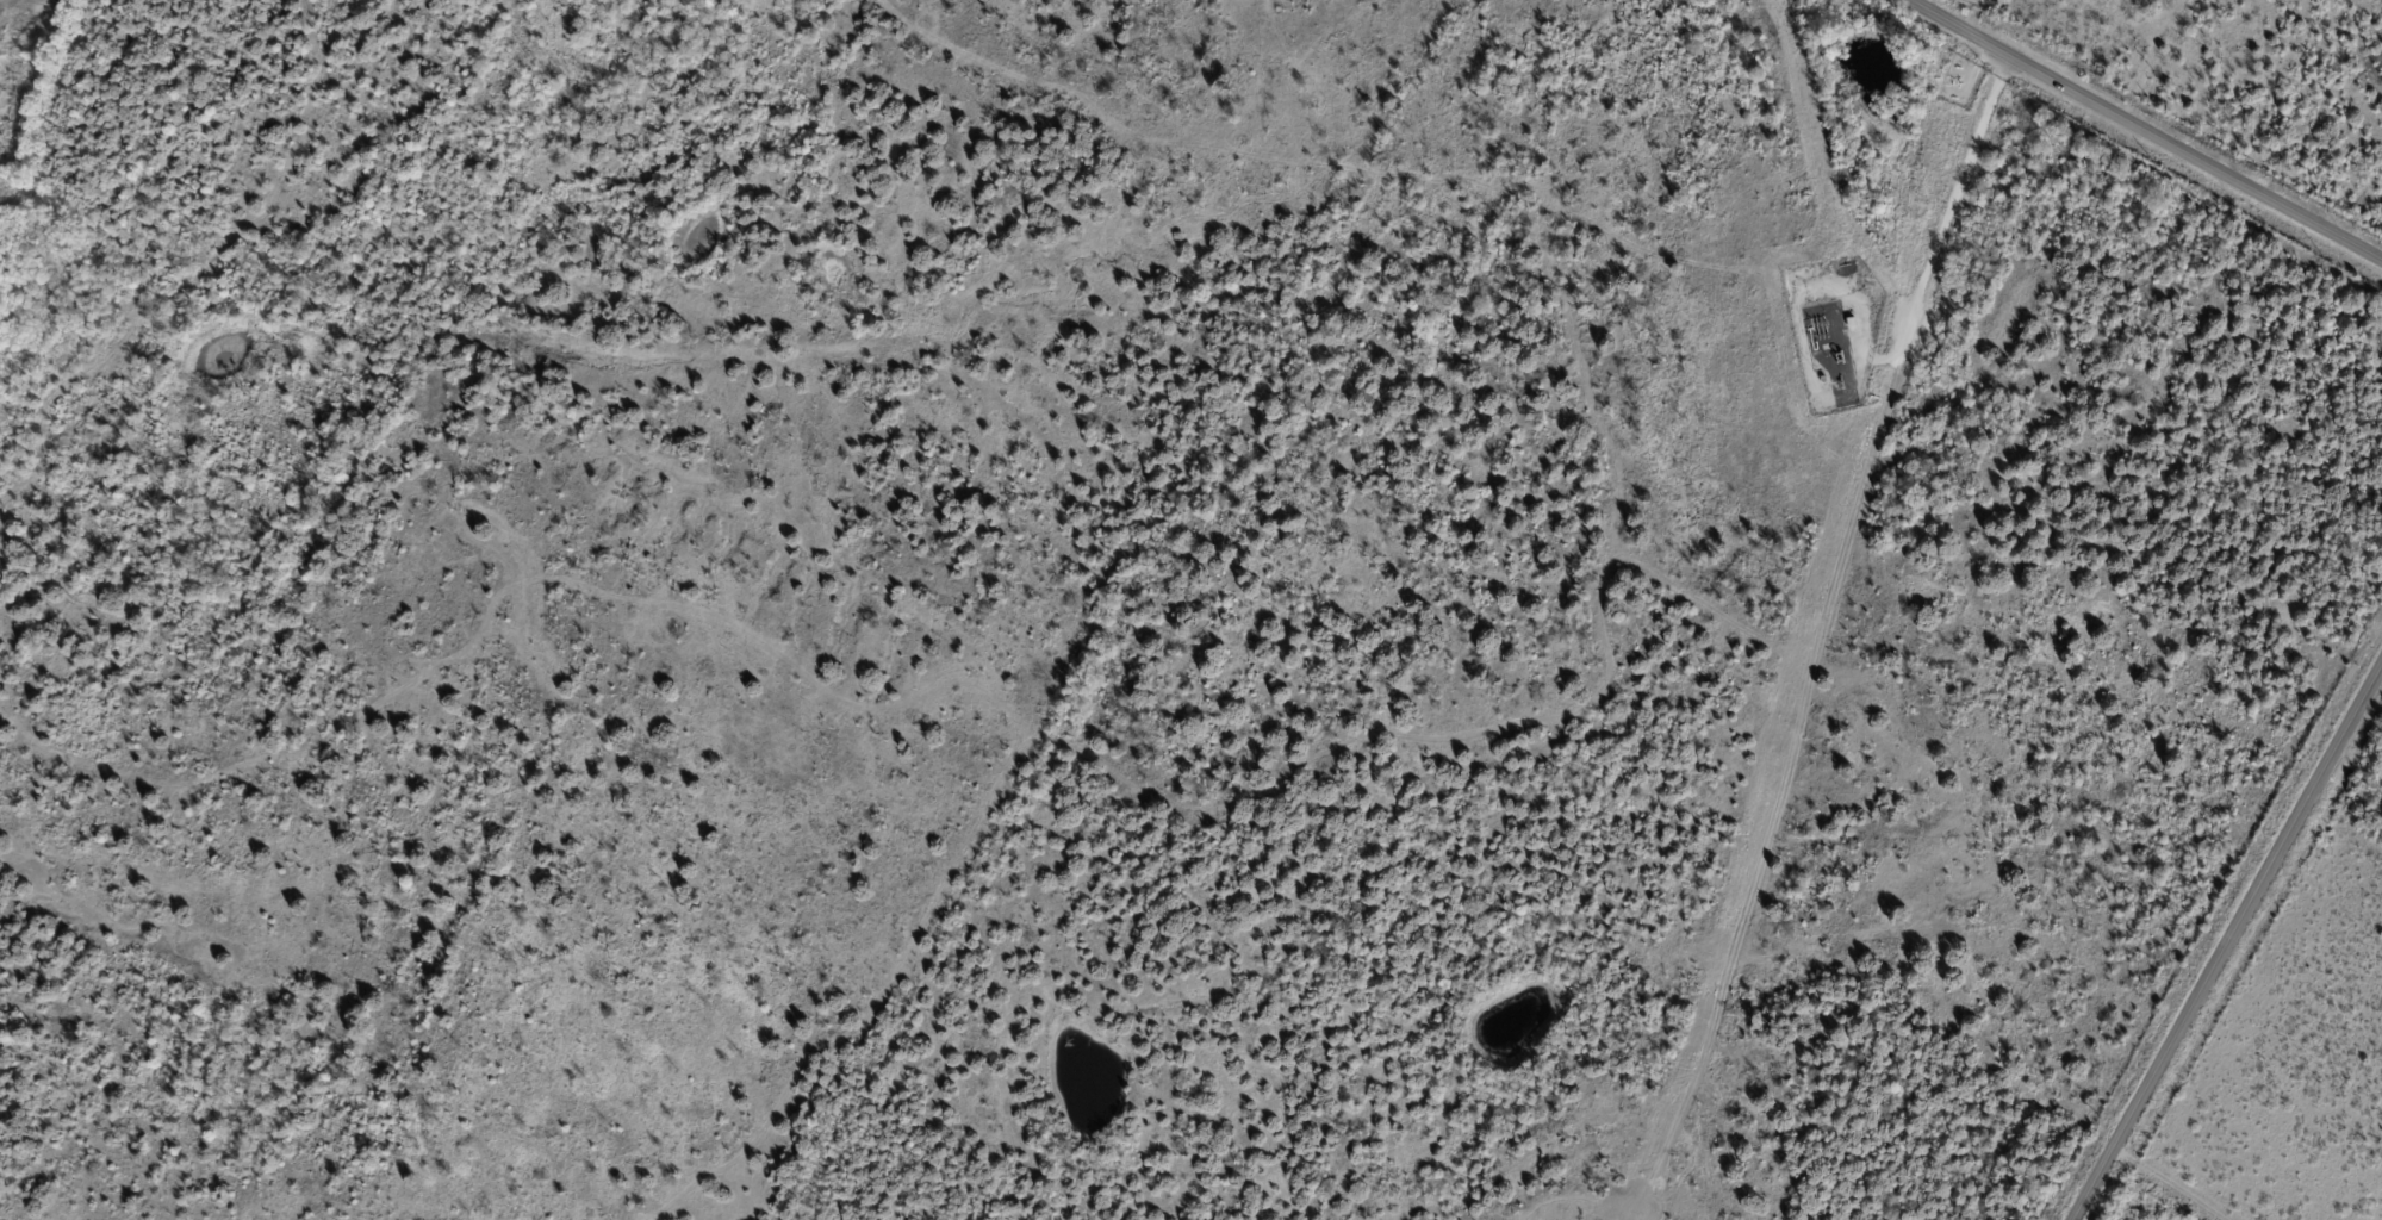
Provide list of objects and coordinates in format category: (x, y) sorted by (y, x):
road: (2145, 131)
building: (1849, 323)
road: (2229, 944)

